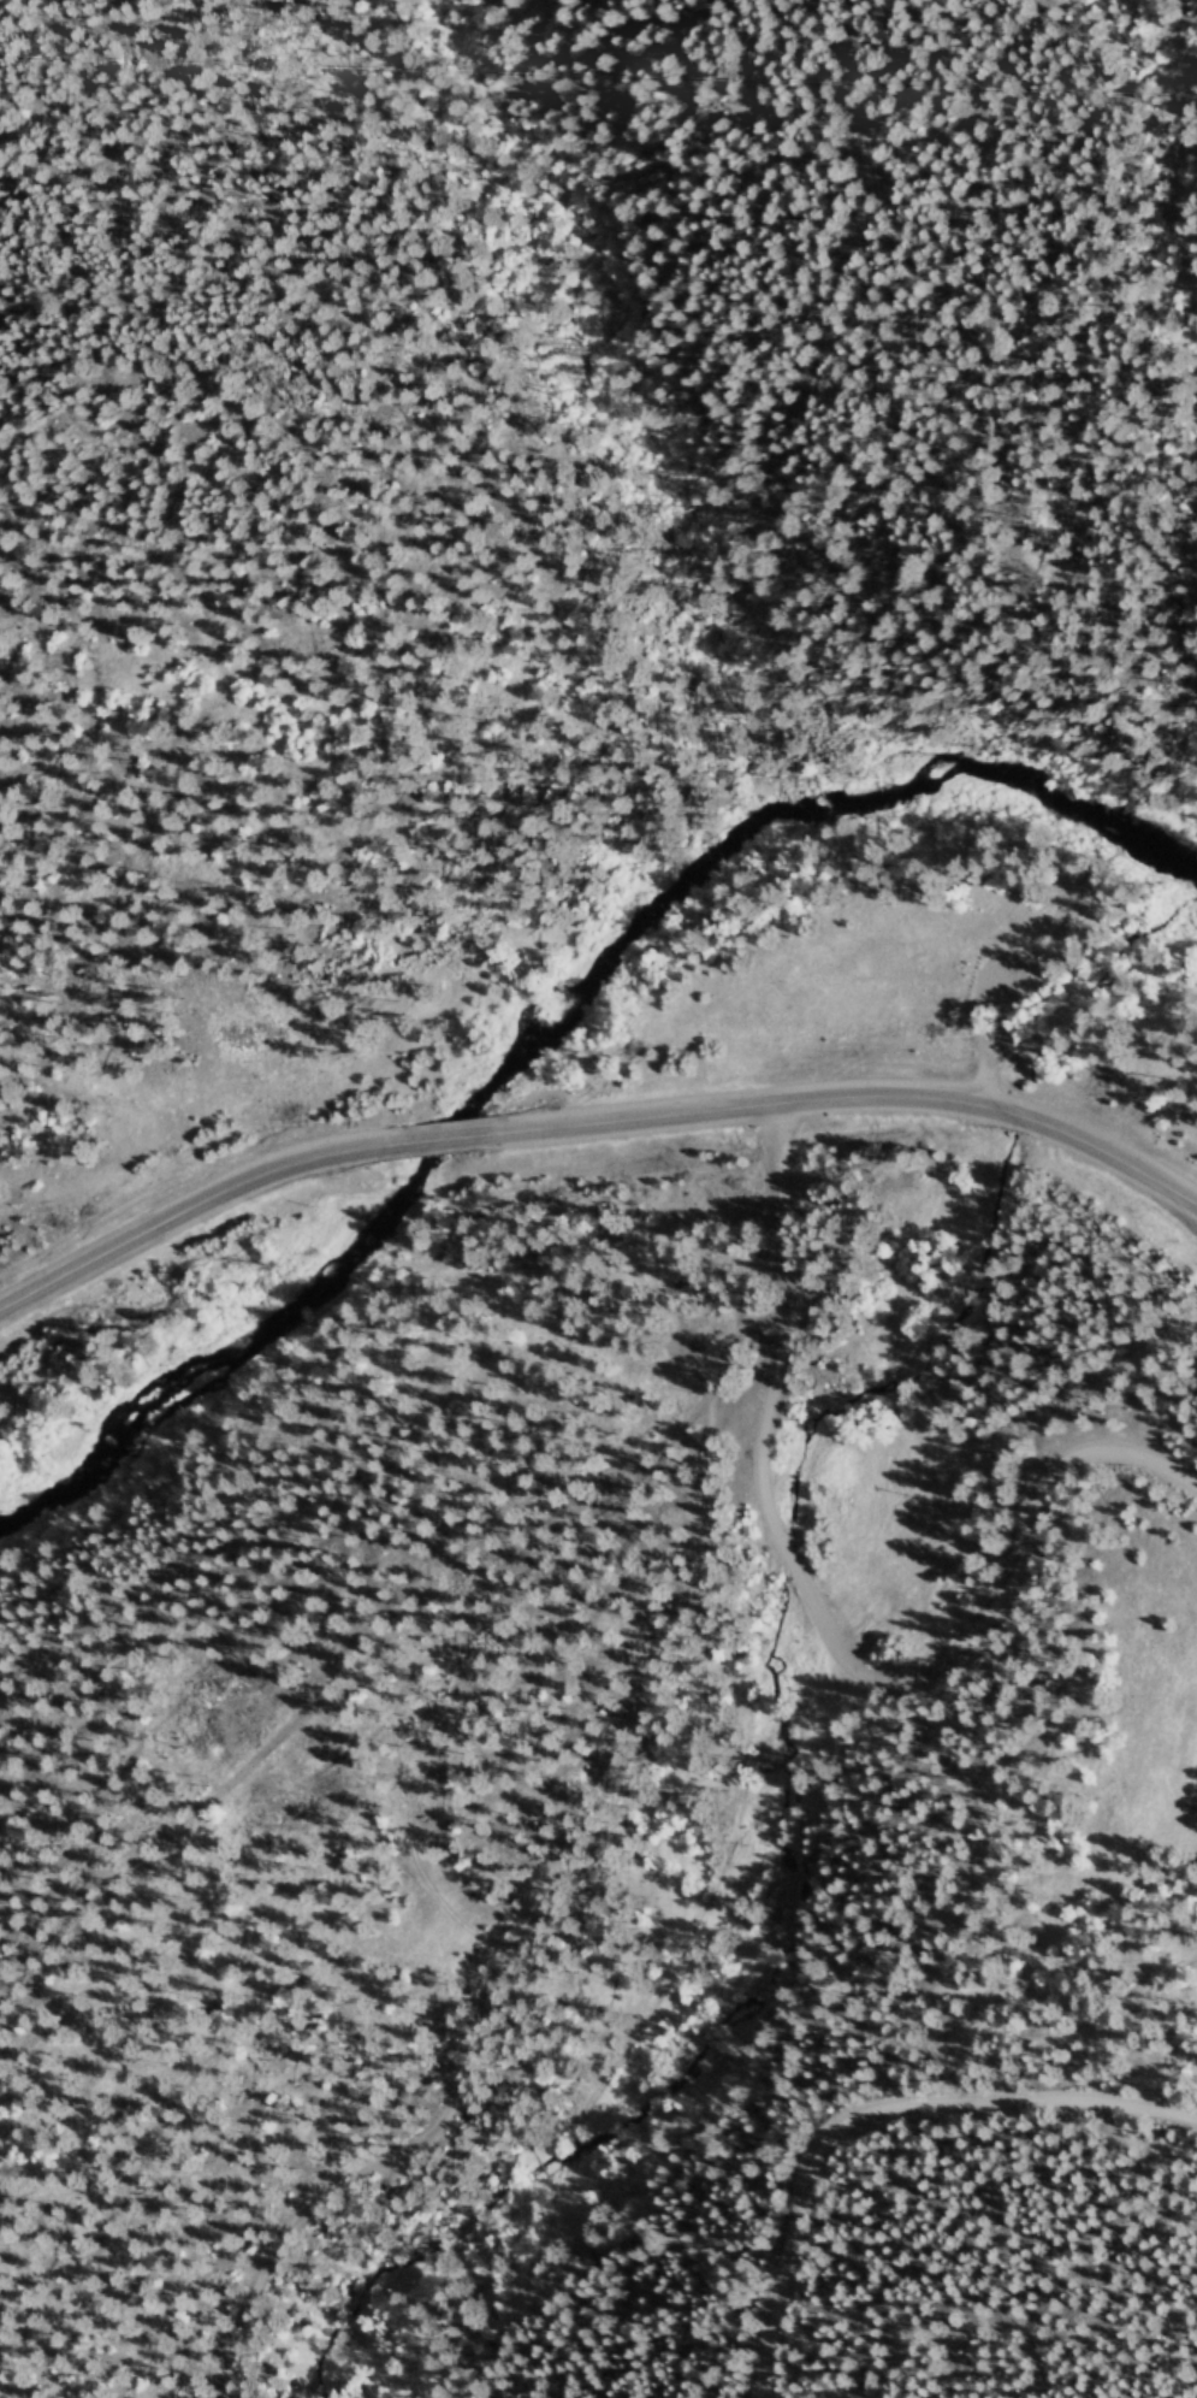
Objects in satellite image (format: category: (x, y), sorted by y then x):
road: (852, 1104)
road: (442, 1146)
road: (192, 1216)
road: (822, 1630)
road: (575, 1837)
road: (877, 2119)

